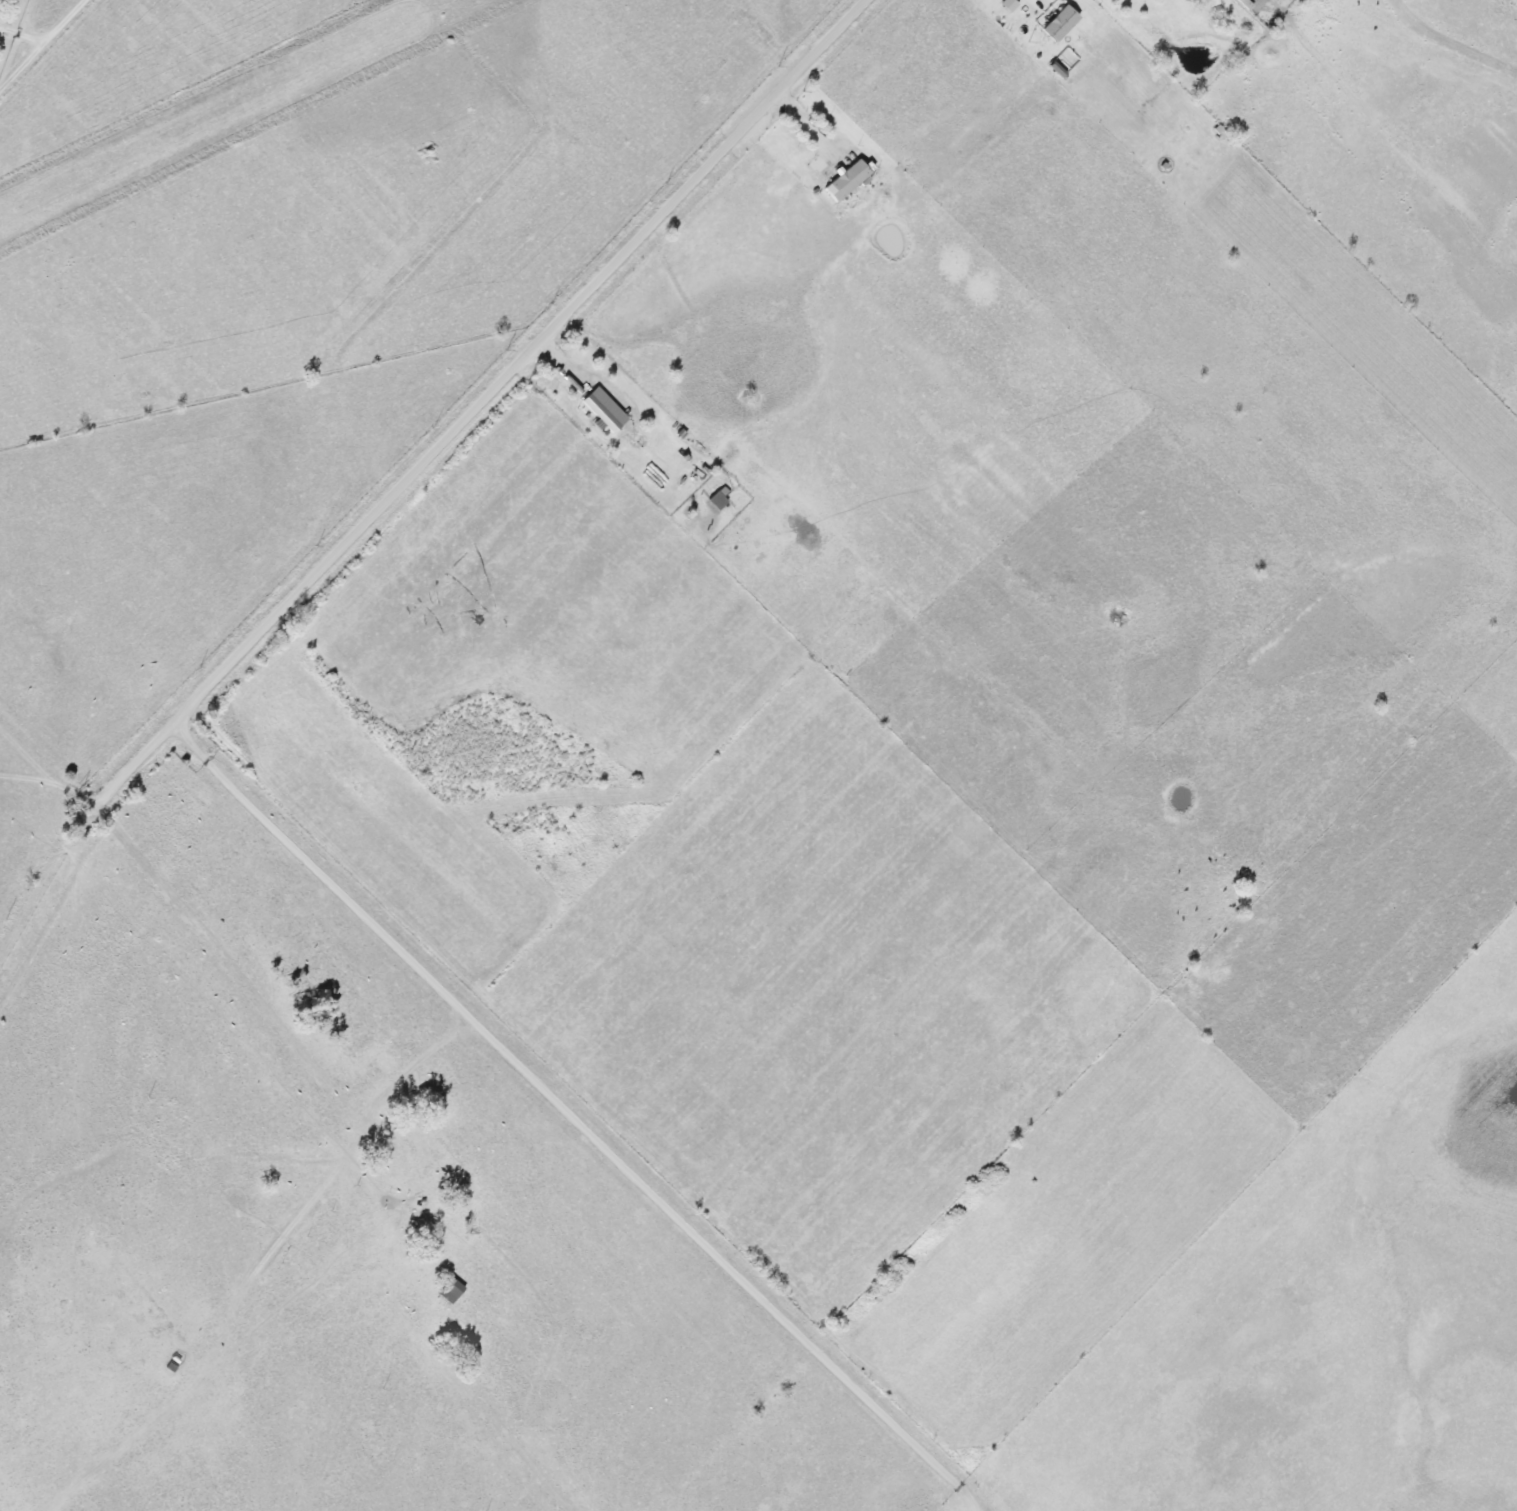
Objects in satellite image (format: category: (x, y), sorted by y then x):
road: (1035, 3)
building: (1008, 5)
building: (1059, 24)
road: (39, 40)
airport runway: (225, 109)
airport: (225, 110)
road: (803, 140)
building: (848, 180)
road: (479, 405)
building: (604, 411)
road: (18, 773)
road: (46, 781)
road: (571, 1117)

